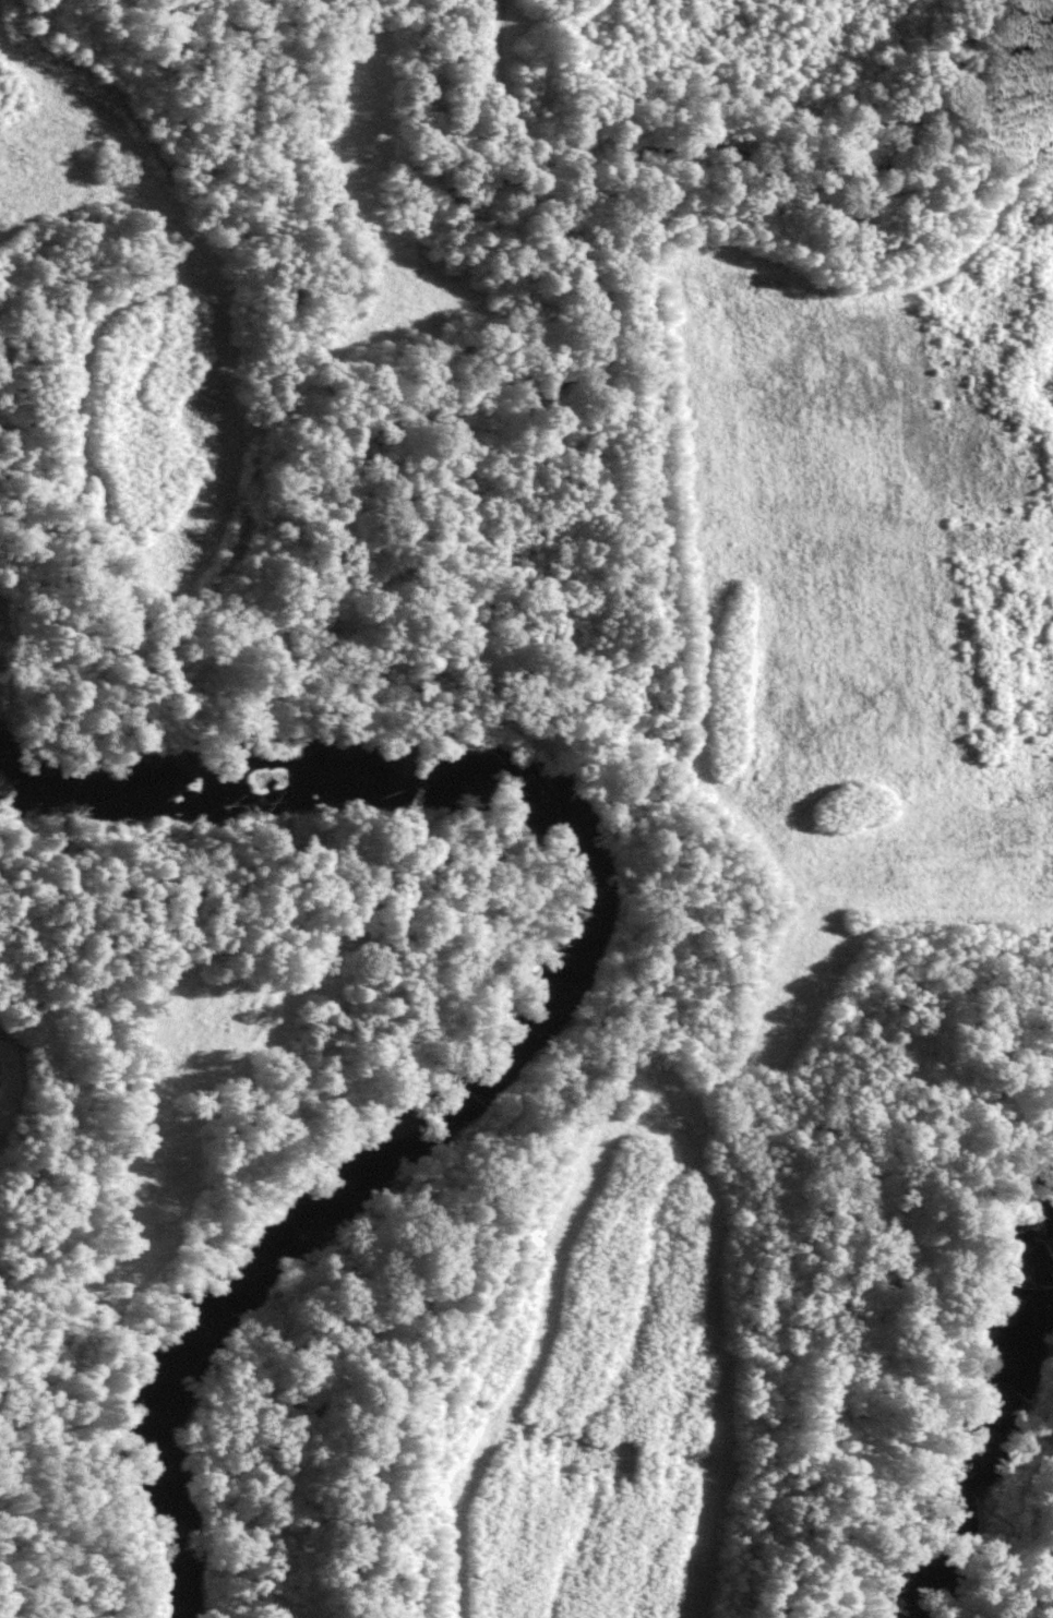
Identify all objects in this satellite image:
river: (547, 1015)
river: (981, 1405)

